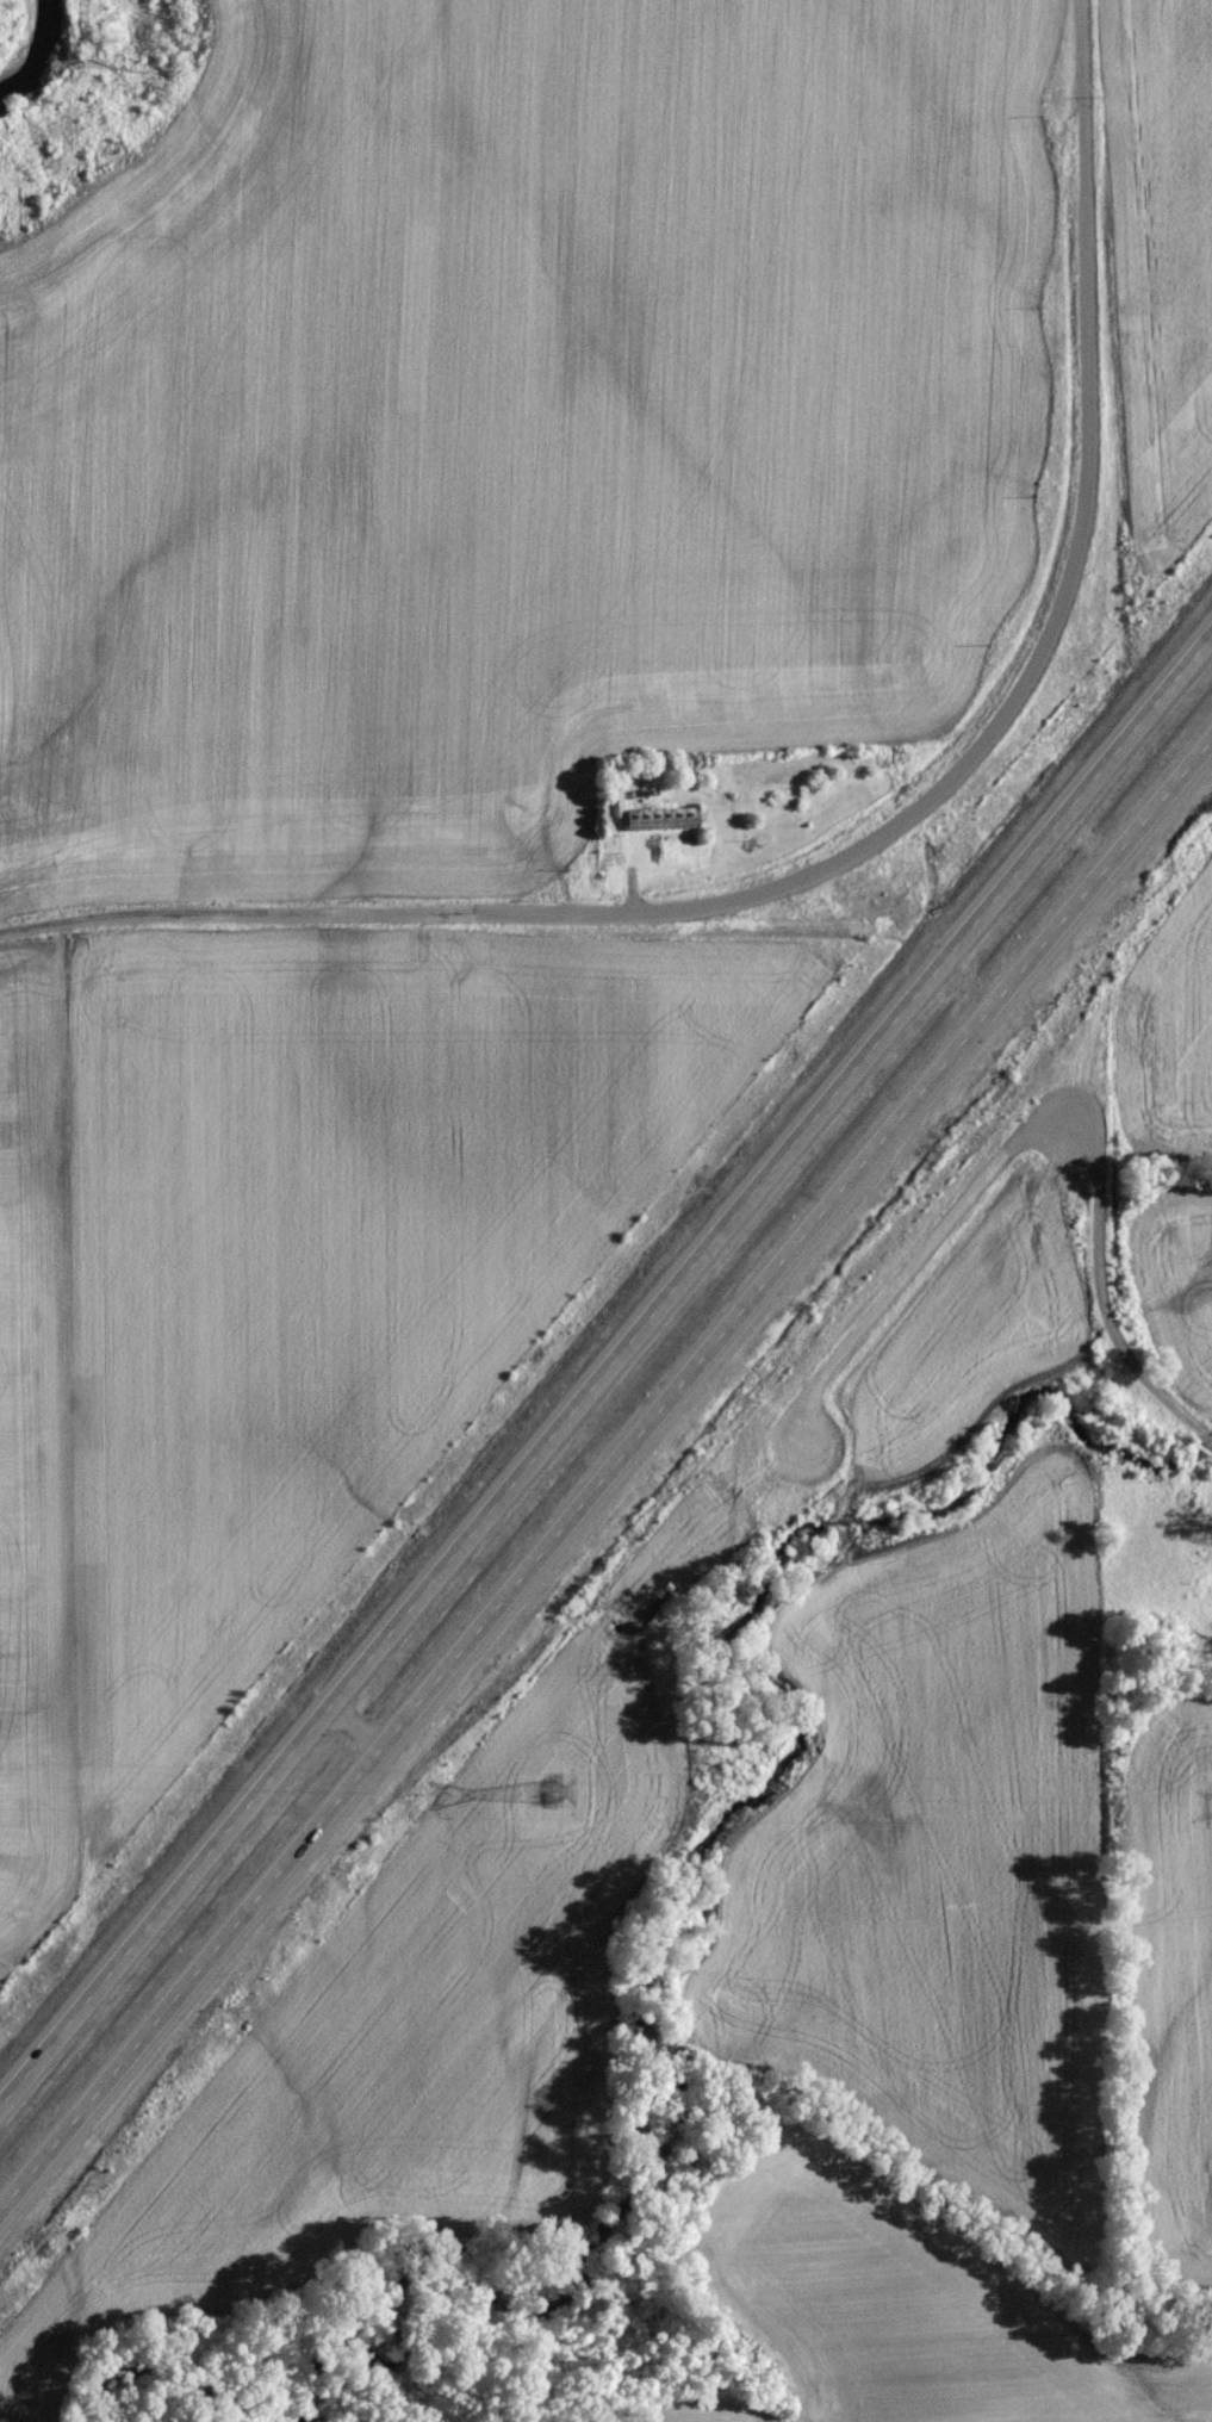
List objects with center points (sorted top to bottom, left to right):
road: (1088, 421)
building: (661, 822)
building: (19, 850)
building: (37, 884)
road: (480, 918)
road: (908, 1274)
road: (1096, 1298)
road: (607, 1380)
road: (604, 1480)
road: (354, 1729)
power tower: (547, 1797)

